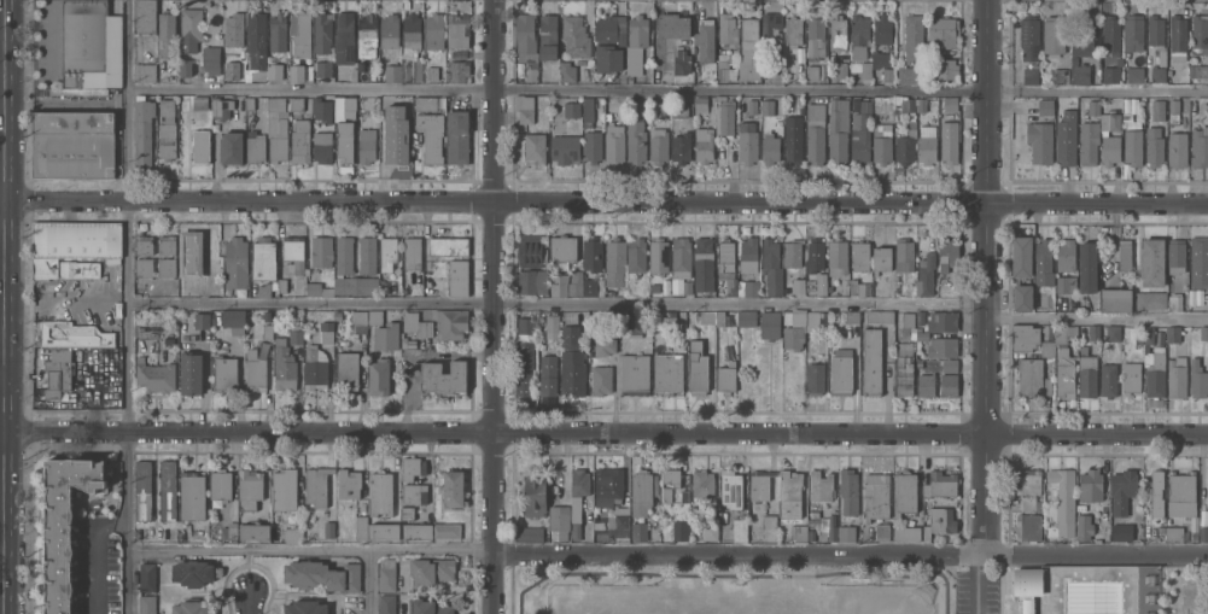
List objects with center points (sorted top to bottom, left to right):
building: (145, 16)
building: (293, 23)
building: (191, 24)
building: (673, 25)
building: (234, 27)
building: (771, 28)
building: (728, 29)
building: (881, 29)
building: (367, 30)
building: (389, 30)
building: (412, 30)
building: (457, 30)
building: (278, 31)
building: (433, 31)
building: (941, 31)
building: (1200, 31)
building: (322, 33)
building: (792, 33)
building: (836, 33)
building: (1132, 33)
building: (1177, 33)
building: (165, 34)
building: (1052, 35)
building: (1110, 35)
building: (1156, 35)
building: (574, 36)
building: (815, 36)
building: (548, 37)
building: (859, 37)
building: (912, 37)
building: (1028, 37)
building: (344, 39)
building: (256, 40)
building: (706, 41)
building: (609, 42)
building: (527, 43)
building: (1082, 43)
building: (89, 45)
building: (635, 45)
building: (747, 45)
building: (302, 47)
building: (777, 51)
road: (0, 57)
building: (210, 59)
building: (777, 59)
building: (880, 59)
building: (1074, 60)
building: (1119, 60)
building: (681, 62)
building: (185, 68)
building: (323, 69)
building: (838, 69)
building: (930, 69)
building: (946, 69)
building: (274, 70)
building: (723, 70)
building: (865, 70)
building: (1198, 70)
building: (459, 71)
building: (145, 72)
building: (352, 72)
building: (392, 72)
building: (431, 72)
building: (567, 72)
building: (775, 72)
building: (811, 72)
building: (258, 74)
building: (440, 74)
building: (1085, 74)
building: (1109, 74)
building: (1133, 74)
building: (1156, 74)
building: (909, 75)
building: (887, 76)
building: (1028, 76)
building: (1060, 76)
building: (630, 80)
road: (666, 92)
building: (199, 103)
building: (250, 103)
building: (297, 103)
building: (425, 103)
building: (700, 104)
building: (921, 104)
building: (950, 104)
building: (393, 105)
building: (349, 106)
building: (910, 106)
building: (1173, 106)
building: (221, 107)
building: (752, 107)
building: (766, 107)
building: (1045, 107)
building: (1092, 107)
building: (321, 109)
building: (620, 109)
building: (525, 110)
building: (571, 110)
building: (658, 110)
building: (681, 110)
building: (800, 110)
building: (897, 110)
building: (588, 111)
building: (1127, 115)
building: (725, 117)
building: (1173, 118)
building: (1109, 121)
building: (72, 122)
building: (142, 129)
building: (276, 129)
building: (838, 129)
building: (167, 130)
building: (636, 133)
building: (815, 134)
building: (860, 134)
building: (431, 135)
building: (457, 138)
building: (1066, 138)
building: (793, 140)
building: (299, 141)
building: (344, 141)
building: (1039, 141)
building: (1152, 141)
building: (747, 142)
building: (881, 142)
building: (1089, 142)
building: (395, 144)
building: (613, 144)
building: (926, 144)
building: (366, 145)
building: (704, 145)
building: (199, 146)
building: (255, 146)
building: (593, 146)
building: (659, 146)
building: (904, 146)
building: (949, 146)
building: (1132, 146)
building: (1200, 146)
building: (230, 147)
building: (535, 147)
building: (681, 147)
building: (322, 148)
building: (564, 148)
building: (769, 148)
building: (1109, 150)
building: (1177, 150)
building: (72, 154)
road: (603, 206)
building: (76, 240)
building: (144, 244)
building: (167, 244)
building: (448, 246)
building: (562, 247)
building: (321, 251)
building: (530, 251)
building: (792, 252)
building: (189, 253)
building: (293, 253)
building: (387, 253)
building: (412, 253)
building: (591, 253)
building: (946, 253)
building: (1124, 253)
building: (344, 255)
building: (367, 255)
building: (636, 255)
building: (748, 255)
building: (813, 255)
building: (859, 255)
building: (903, 255)
building: (1064, 255)
building: (658, 256)
building: (836, 256)
building: (1021, 256)
building: (1175, 256)
building: (681, 257)
building: (262, 258)
building: (725, 258)
building: (881, 258)
building: (614, 261)
building: (1151, 261)
building: (1043, 262)
building: (1198, 262)
building: (704, 264)
building: (770, 265)
building: (144, 267)
building: (167, 267)
building: (235, 267)
building: (1087, 267)
building: (62, 268)
building: (924, 274)
road: (986, 275)
building: (456, 277)
building: (415, 281)
building: (532, 281)
building: (558, 283)
building: (574, 283)
building: (816, 283)
building: (1066, 283)
building: (282, 285)
building: (355, 285)
building: (380, 285)
building: (798, 286)
building: (589, 287)
building: (654, 287)
building: (687, 287)
building: (748, 287)
building: (857, 287)
building: (263, 290)
building: (319, 290)
building: (731, 290)
building: (1022, 297)
building: (1039, 297)
building: (1115, 299)
building: (1150, 299)
building: (1175, 300)
road: (554, 304)
road: (1, 306)
road: (124, 306)
road: (491, 306)
building: (117, 310)
building: (267, 315)
building: (337, 315)
building: (706, 316)
building: (851, 316)
building: (879, 316)
building: (360, 317)
building: (374, 317)
building: (745, 317)
building: (787, 317)
building: (920, 317)
building: (719, 318)
building: (202, 320)
building: (233, 320)
building: (822, 320)
building: (908, 320)
road: (1096, 320)
building: (811, 321)
building: (941, 321)
building: (550, 322)
building: (415, 323)
building: (450, 323)
building: (667, 323)
building: (524, 324)
building: (770, 324)
building: (634, 327)
building: (918, 329)
building: (267, 331)
building: (326, 332)
building: (1093, 332)
building: (1203, 332)
building: (294, 333)
building: (1111, 333)
building: (1173, 333)
building: (72, 334)
building: (305, 334)
building: (1061, 334)
building: (386, 335)
building: (1148, 335)
building: (792, 337)
building: (1023, 337)
building: (1138, 337)
building: (920, 338)
building: (410, 341)
building: (603, 344)
building: (941, 346)
building: (1046, 349)
building: (250, 352)
building: (1101, 355)
building: (870, 361)
building: (572, 362)
building: (949, 364)
building: (282, 366)
building: (314, 368)
building: (523, 368)
building: (696, 368)
building: (840, 370)
building: (57, 372)
building: (1064, 372)
building: (191, 373)
building: (224, 373)
building: (346, 373)
building: (667, 373)
building: (1086, 373)
building: (1155, 373)
building: (256, 374)
building: (548, 374)
building: (634, 374)
building: (153, 376)
building: (378, 376)
building: (903, 376)
building: (1131, 376)
building: (1175, 376)
building: (443, 378)
building: (1032, 378)
building: (600, 379)
building: (725, 379)
building: (815, 379)
building: (1197, 379)
building: (1108, 380)
road: (1, 381)
building: (924, 385)
building: (947, 385)
building: (72, 394)
road: (605, 435)
building: (412, 467)
building: (671, 475)
building: (1027, 481)
building: (702, 483)
building: (220, 484)
building: (348, 484)
building: (759, 484)
building: (940, 484)
building: (316, 485)
building: (611, 485)
building: (821, 485)
building: (1090, 485)
building: (451, 487)
building: (142, 489)
building: (249, 489)
building: (730, 489)
building: (1121, 489)
building: (167, 490)
building: (847, 490)
building: (284, 491)
building: (380, 492)
building: (641, 492)
building: (905, 492)
building: (1156, 492)
building: (414, 493)
building: (789, 493)
building: (1181, 493)
building: (191, 495)
building: (533, 495)
building: (666, 495)
building: (876, 495)
building: (684, 496)
building: (577, 497)
building: (596, 499)
building: (1063, 499)
building: (1026, 504)
building: (407, 513)
building: (597, 516)
building: (559, 517)
building: (620, 521)
building: (939, 521)
building: (64, 524)
building: (361, 526)
building: (384, 526)
building: (1027, 526)
building: (769, 527)
building: (821, 527)
building: (831, 527)
building: (1082, 527)
building: (1160, 527)
building: (328, 528)
building: (739, 528)
building: (232, 530)
building: (253, 530)
building: (447, 530)
building: (679, 530)
building: (416, 531)
building: (638, 531)
building: (708, 531)
building: (798, 531)
building: (882, 531)
building: (1121, 531)
building: (906, 532)
building: (292, 533)
building: (529, 533)
building: (846, 533)
building: (1173, 534)
building: (1203, 534)
road: (0, 544)
road: (309, 551)
road: (850, 551)
road: (95, 554)
building: (430, 571)
building: (192, 572)
building: (322, 574)
building: (386, 574)
building: (146, 575)
road: (370, 583)
road: (975, 583)
building: (1027, 586)
park: (860, 589)
road: (246, 602)
building: (386, 603)
building: (305, 606)
building: (191, 607)
building: (428, 607)
building: (146, 609)

